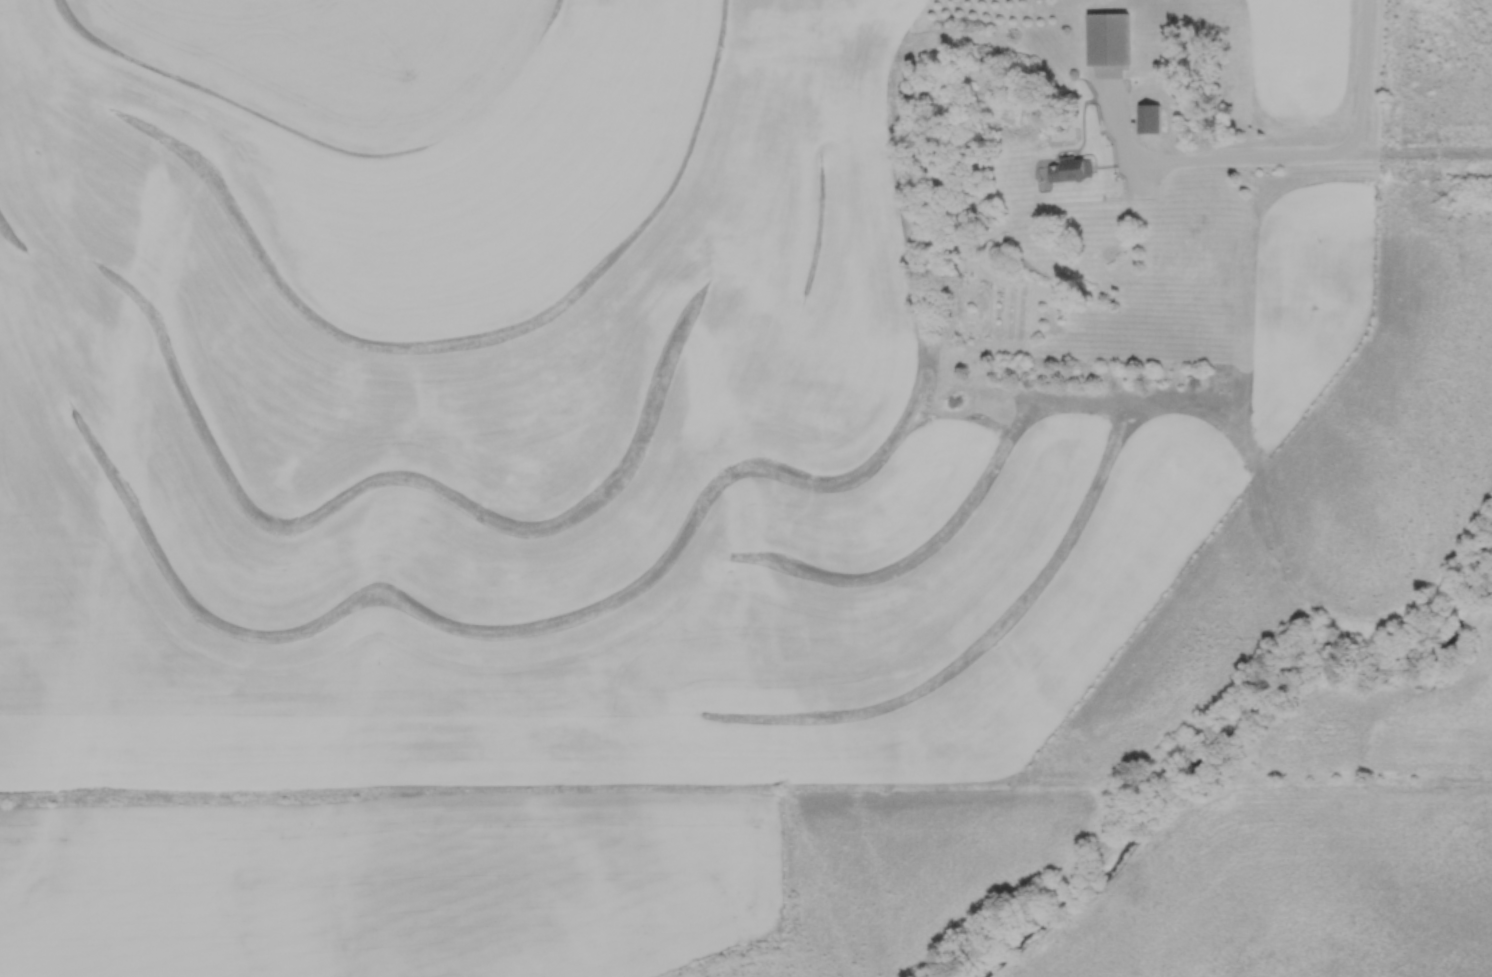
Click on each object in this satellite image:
building: (1108, 38)
building: (1148, 118)
road: (1424, 153)
road: (1324, 155)
building: (1071, 169)

